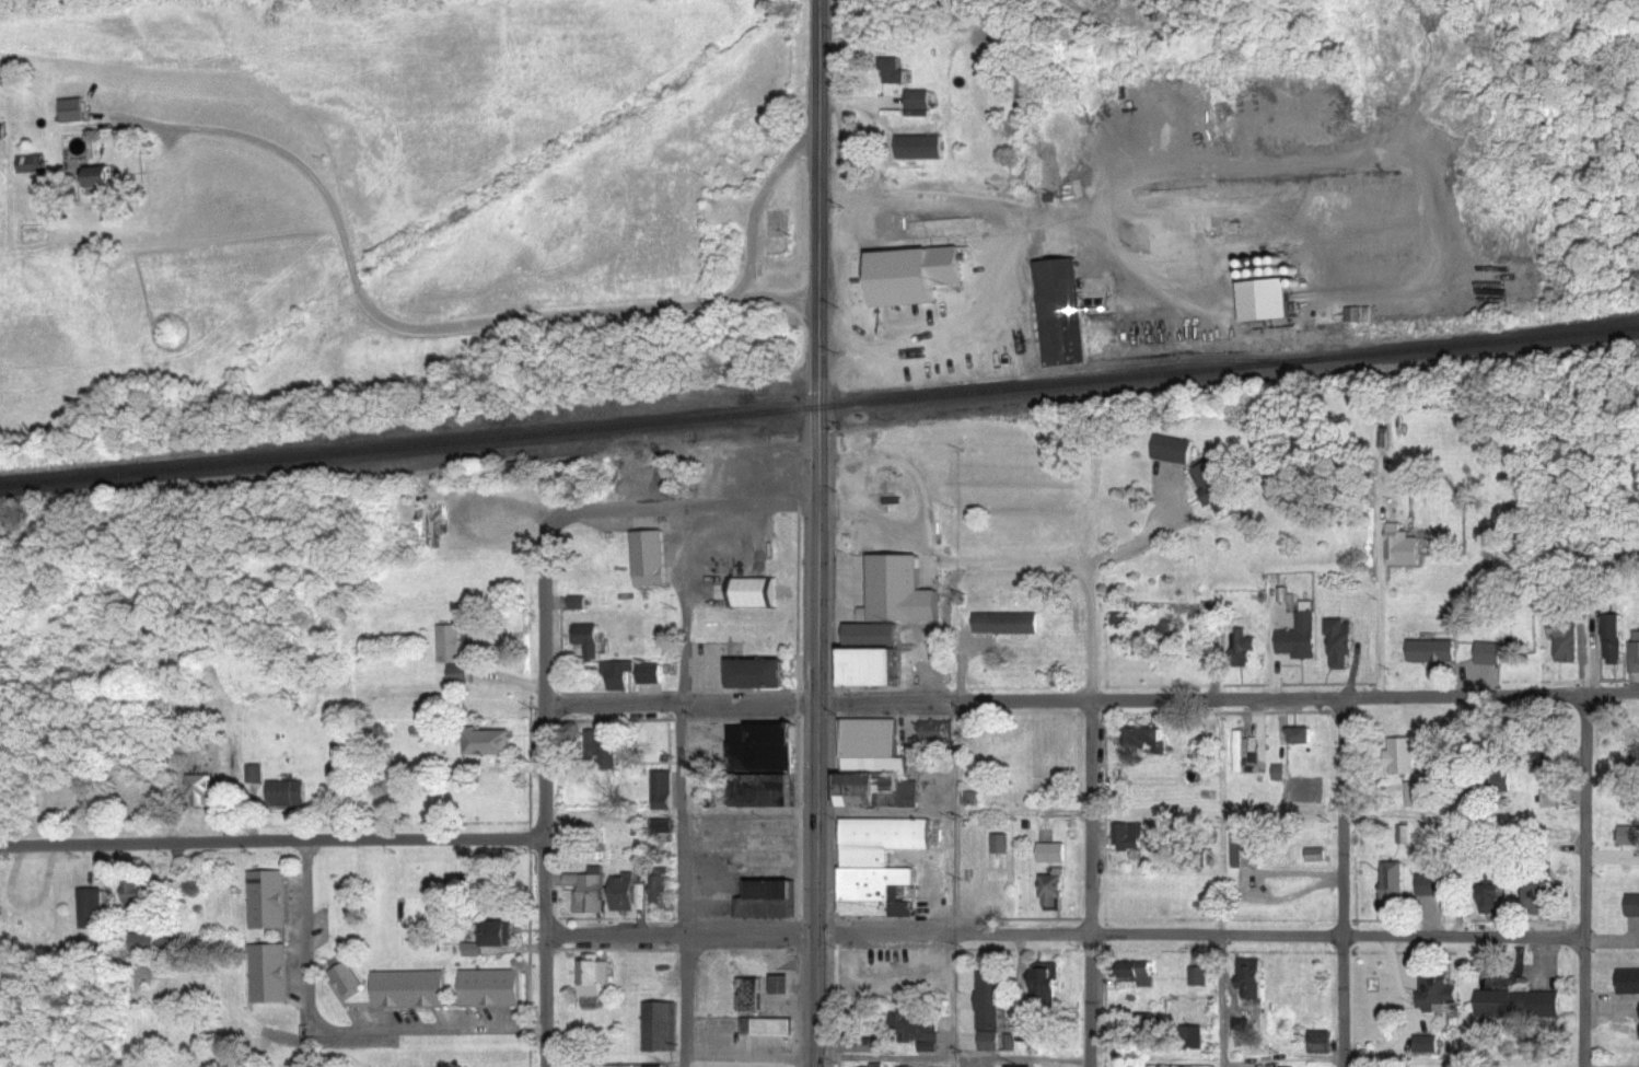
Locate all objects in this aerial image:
building: (893, 71)
building: (919, 101)
building: (74, 112)
building: (3, 132)
building: (920, 148)
building: (32, 165)
building: (102, 178)
building: (916, 275)
building: (1269, 300)
building: (1061, 313)
road: (460, 324)
railway: (818, 406)
building: (1175, 451)
road: (902, 465)
building: (1213, 486)
road: (848, 489)
road: (682, 508)
road: (810, 533)
road: (1143, 542)
building: (1403, 548)
building: (650, 559)
road: (1010, 559)
building: (900, 592)
building: (755, 594)
building: (579, 604)
building: (1121, 618)
building: (1010, 625)
road: (1380, 630)
building: (1302, 635)
building: (1616, 640)
building: (591, 641)
building: (1568, 641)
building: (1342, 643)
building: (452, 645)
building: (1244, 649)
building: (1433, 652)
building: (1490, 654)
building: (873, 656)
building: (1636, 658)
road: (546, 671)
building: (760, 674)
building: (461, 675)
building: (619, 675)
building: (651, 675)
road: (1222, 696)
road: (676, 699)
road: (679, 720)
building: (934, 732)
building: (1302, 737)
building: (1150, 740)
building: (491, 743)
building: (604, 749)
building: (1244, 751)
building: (1404, 756)
building: (764, 765)
building: (876, 766)
building: (1280, 773)
building: (256, 775)
building: (1501, 782)
building: (201, 791)
building: (664, 792)
building: (288, 795)
building: (1418, 796)
road: (1577, 812)
road: (1090, 815)
road: (1345, 815)
building: (665, 826)
building: (1129, 837)
building: (1629, 837)
road: (276, 840)
building: (1002, 845)
building: (1246, 847)
building: (1054, 854)
building: (1317, 856)
building: (881, 866)
building: (1395, 880)
road: (954, 882)
building: (1434, 886)
building: (662, 888)
building: (591, 892)
building: (1055, 892)
building: (630, 894)
building: (909, 894)
building: (1545, 894)
building: (140, 897)
building: (1496, 897)
building: (268, 902)
building: (770, 902)
building: (1634, 906)
building: (93, 911)
building: (501, 935)
road: (682, 935)
road: (1194, 935)
building: (144, 940)
road: (551, 949)
road: (306, 951)
building: (474, 951)
building: (1139, 973)
building: (270, 975)
building: (595, 976)
building: (1198, 977)
building: (347, 979)
building: (1254, 979)
building: (1048, 982)
building: (1629, 983)
building: (490, 989)
building: (410, 990)
building: (1438, 994)
building: (752, 996)
road: (683, 1000)
road: (1090, 1000)
road: (1221, 1000)
road: (1344, 1000)
road: (1578, 1000)
building: (1521, 1006)
building: (991, 1013)
building: (1243, 1024)
building: (661, 1028)
building: (769, 1028)
road: (450, 1031)
building: (919, 1032)
building: (1198, 1039)
building: (1428, 1045)
building: (860, 1047)
road: (885, 1056)
building: (655, 1066)

